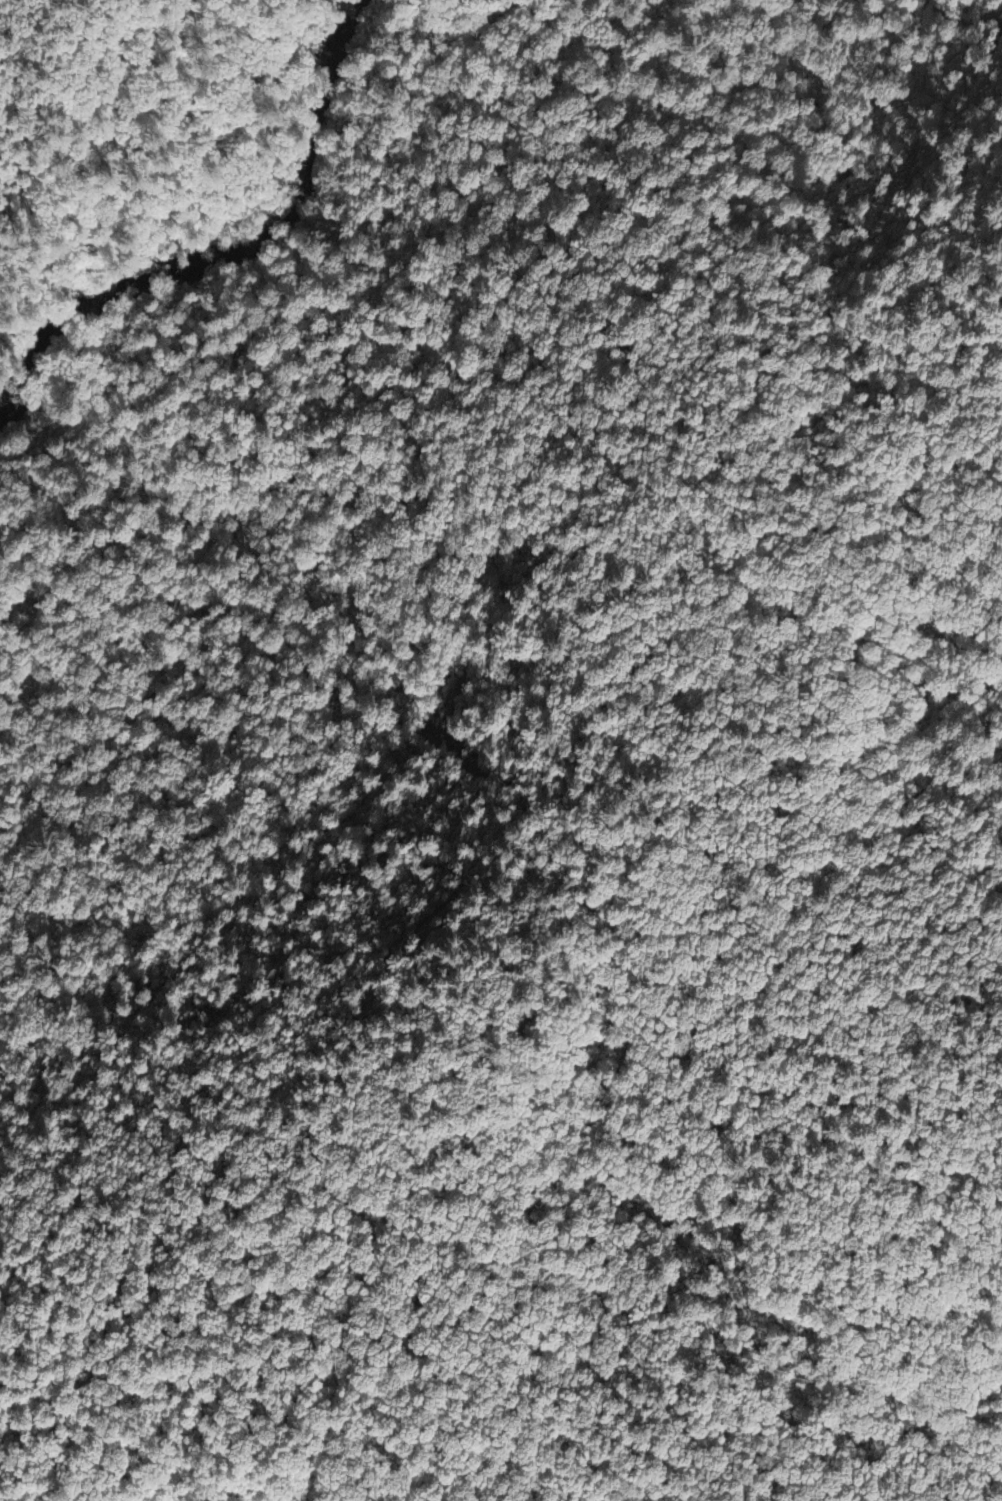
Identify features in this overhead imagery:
river: (245, 262)

